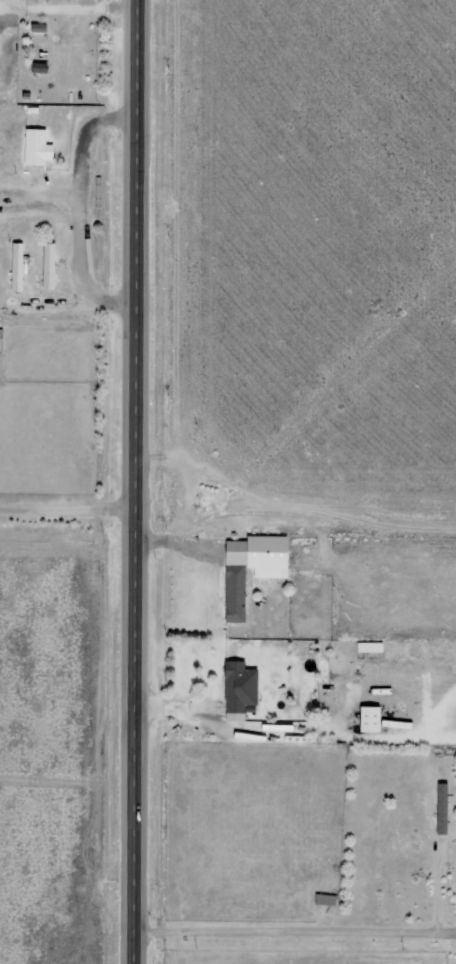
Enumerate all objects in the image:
building: (33, 147)
building: (45, 265)
building: (13, 267)
road: (142, 274)
building: (233, 598)
building: (236, 686)
building: (366, 719)
road: (139, 756)

